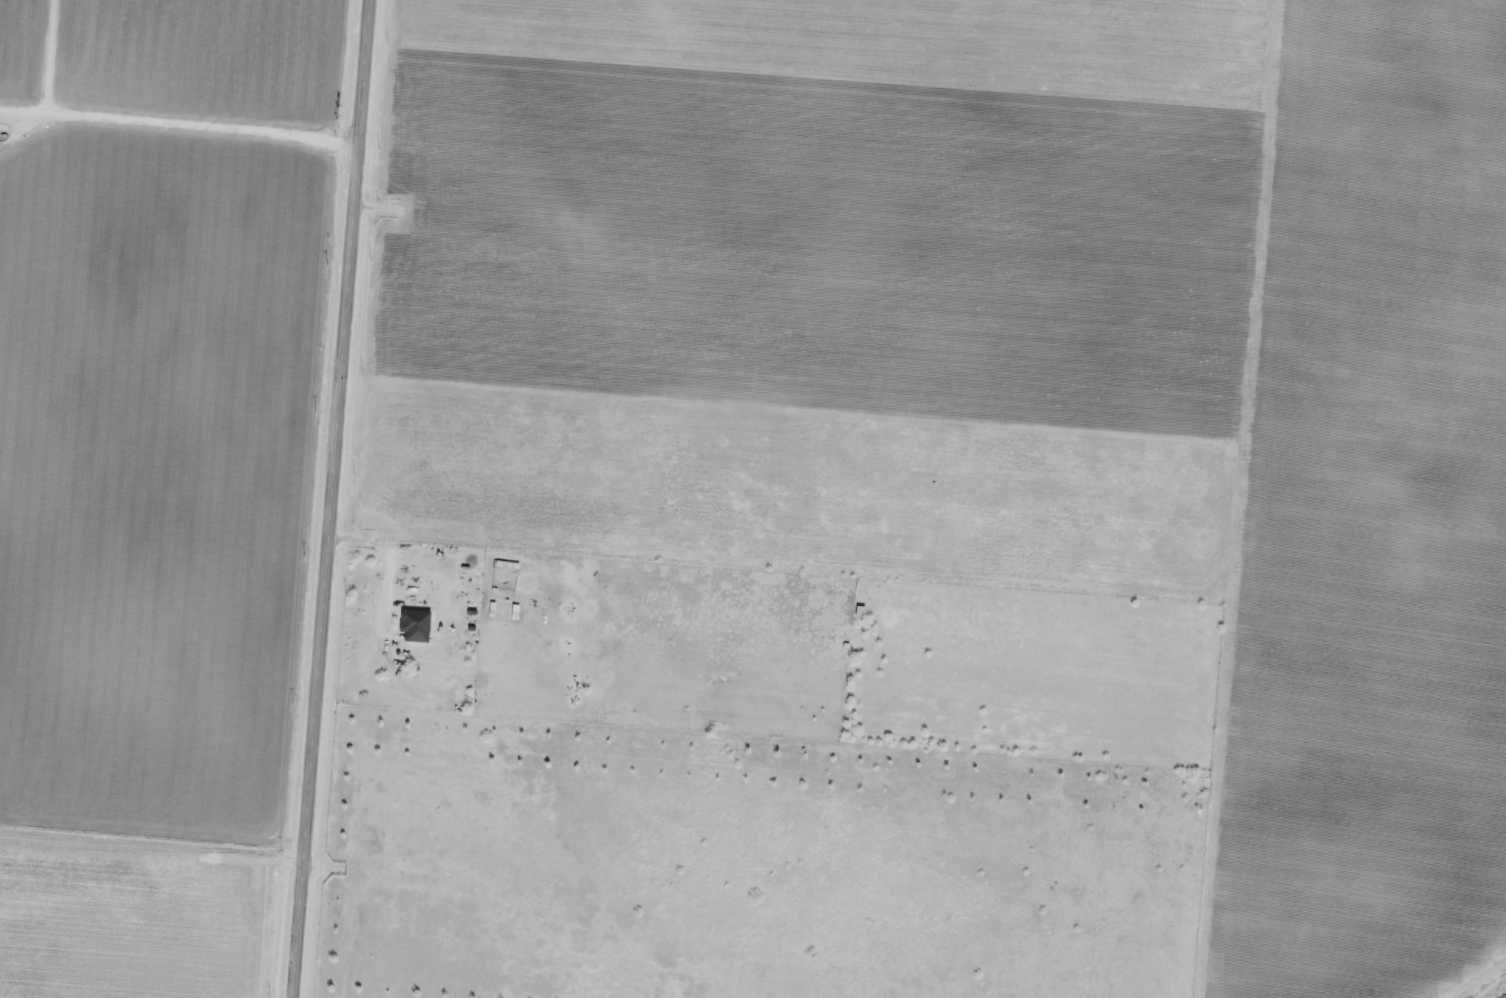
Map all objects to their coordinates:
road: (329, 498)
road: (151, 840)

